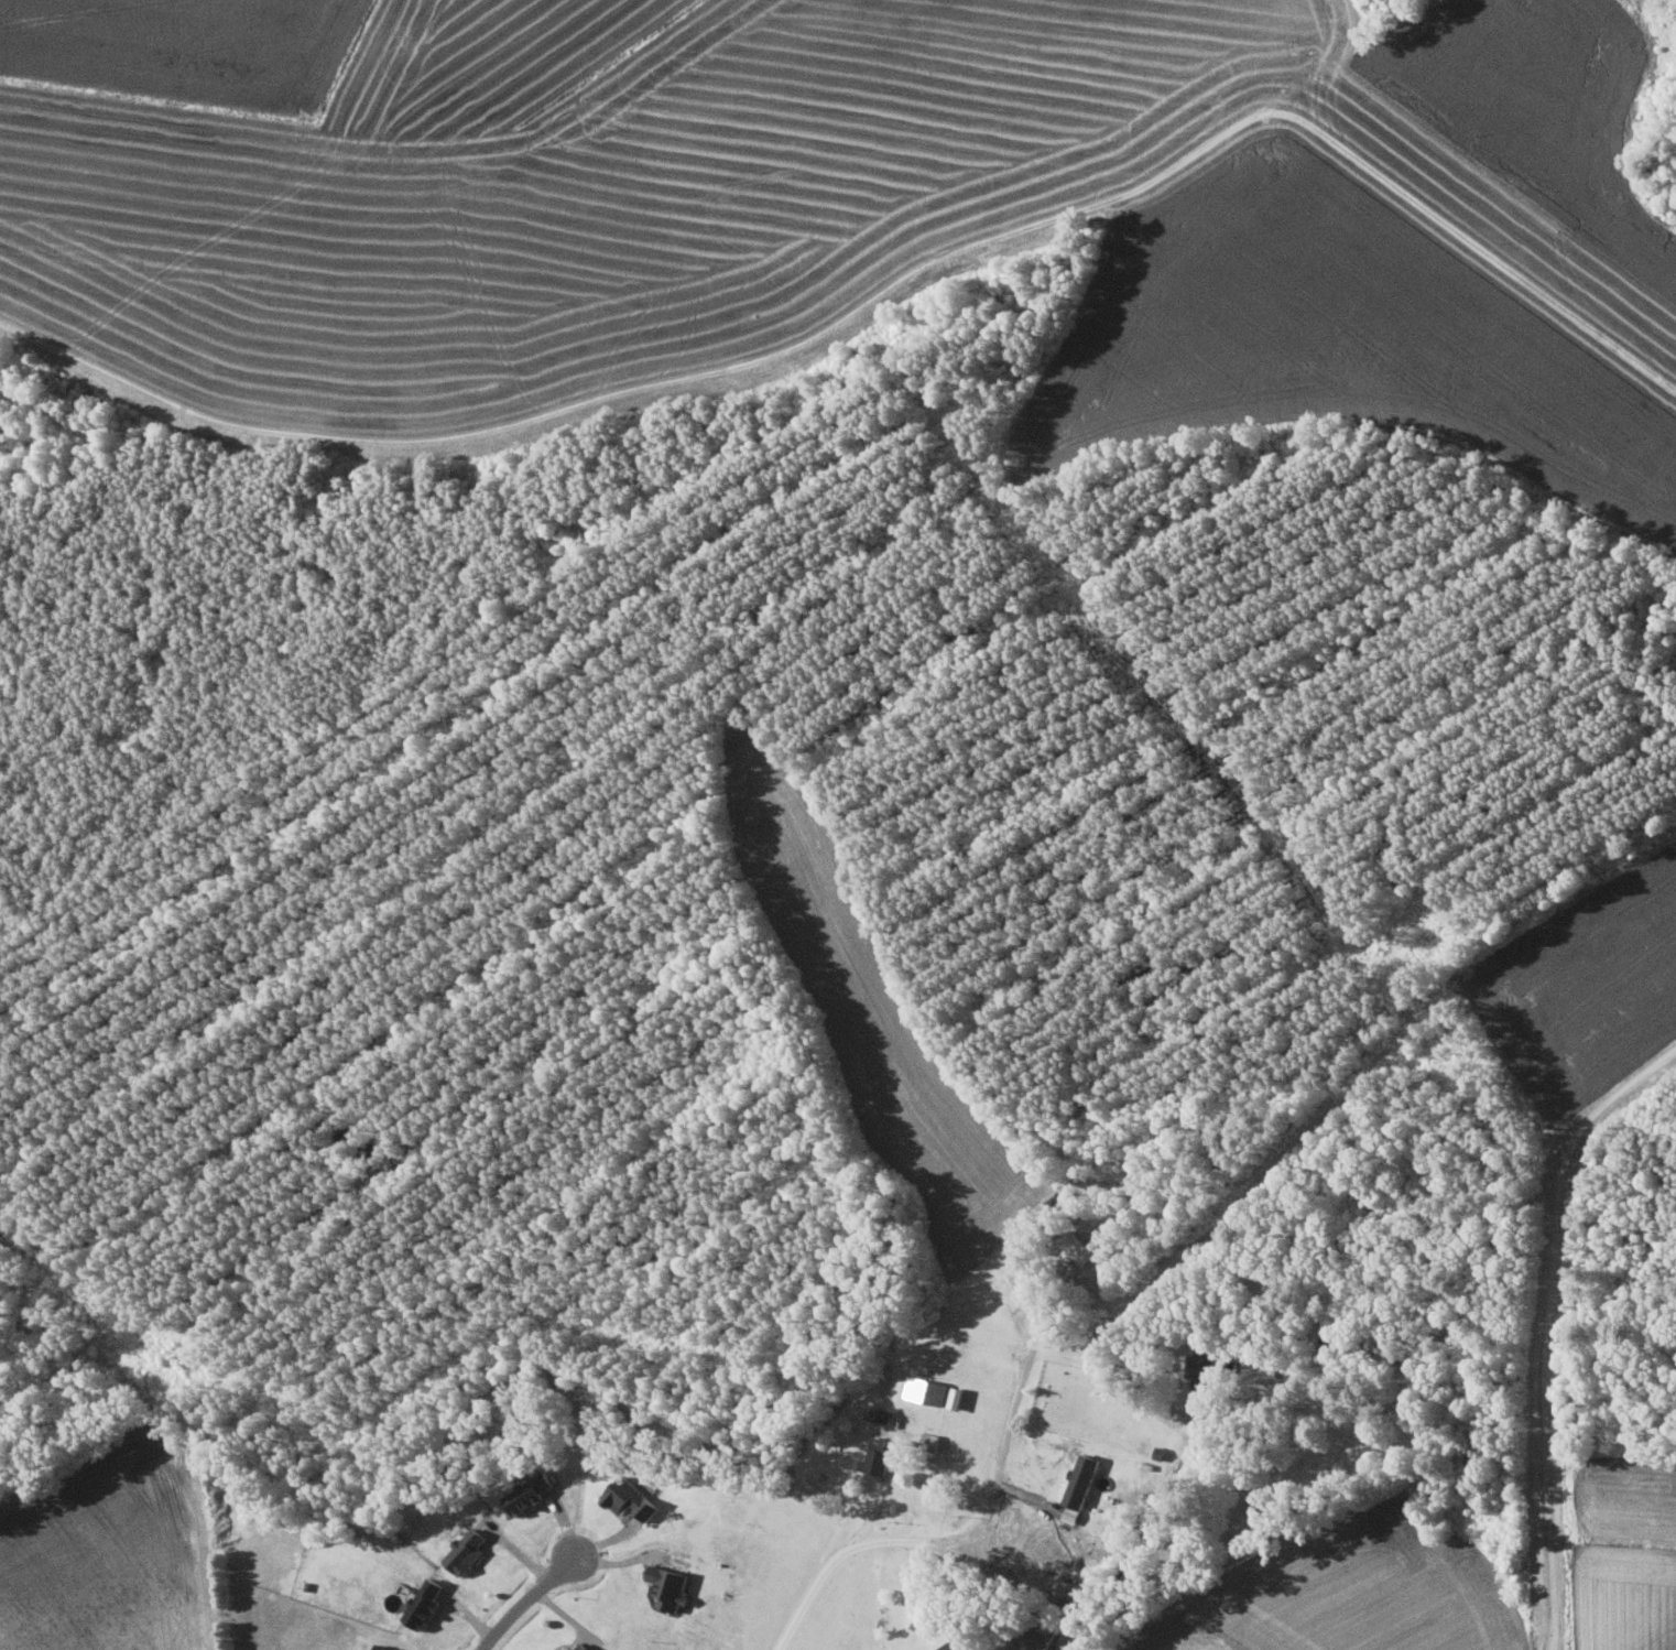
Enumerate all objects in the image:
building: (1076, 1247)
road: (1547, 1325)
building: (1202, 1361)
building: (925, 1389)
building: (873, 1463)
building: (1079, 1486)
building: (529, 1491)
building: (629, 1498)
road: (877, 1500)
road: (979, 1518)
building: (465, 1551)
building: (668, 1586)
road: (524, 1602)
building: (423, 1603)
building: (1037, 1633)
building: (948, 1639)
building: (384, 1647)
building: (1006, 1648)
building: (565, 1649)
building: (585, 1649)

